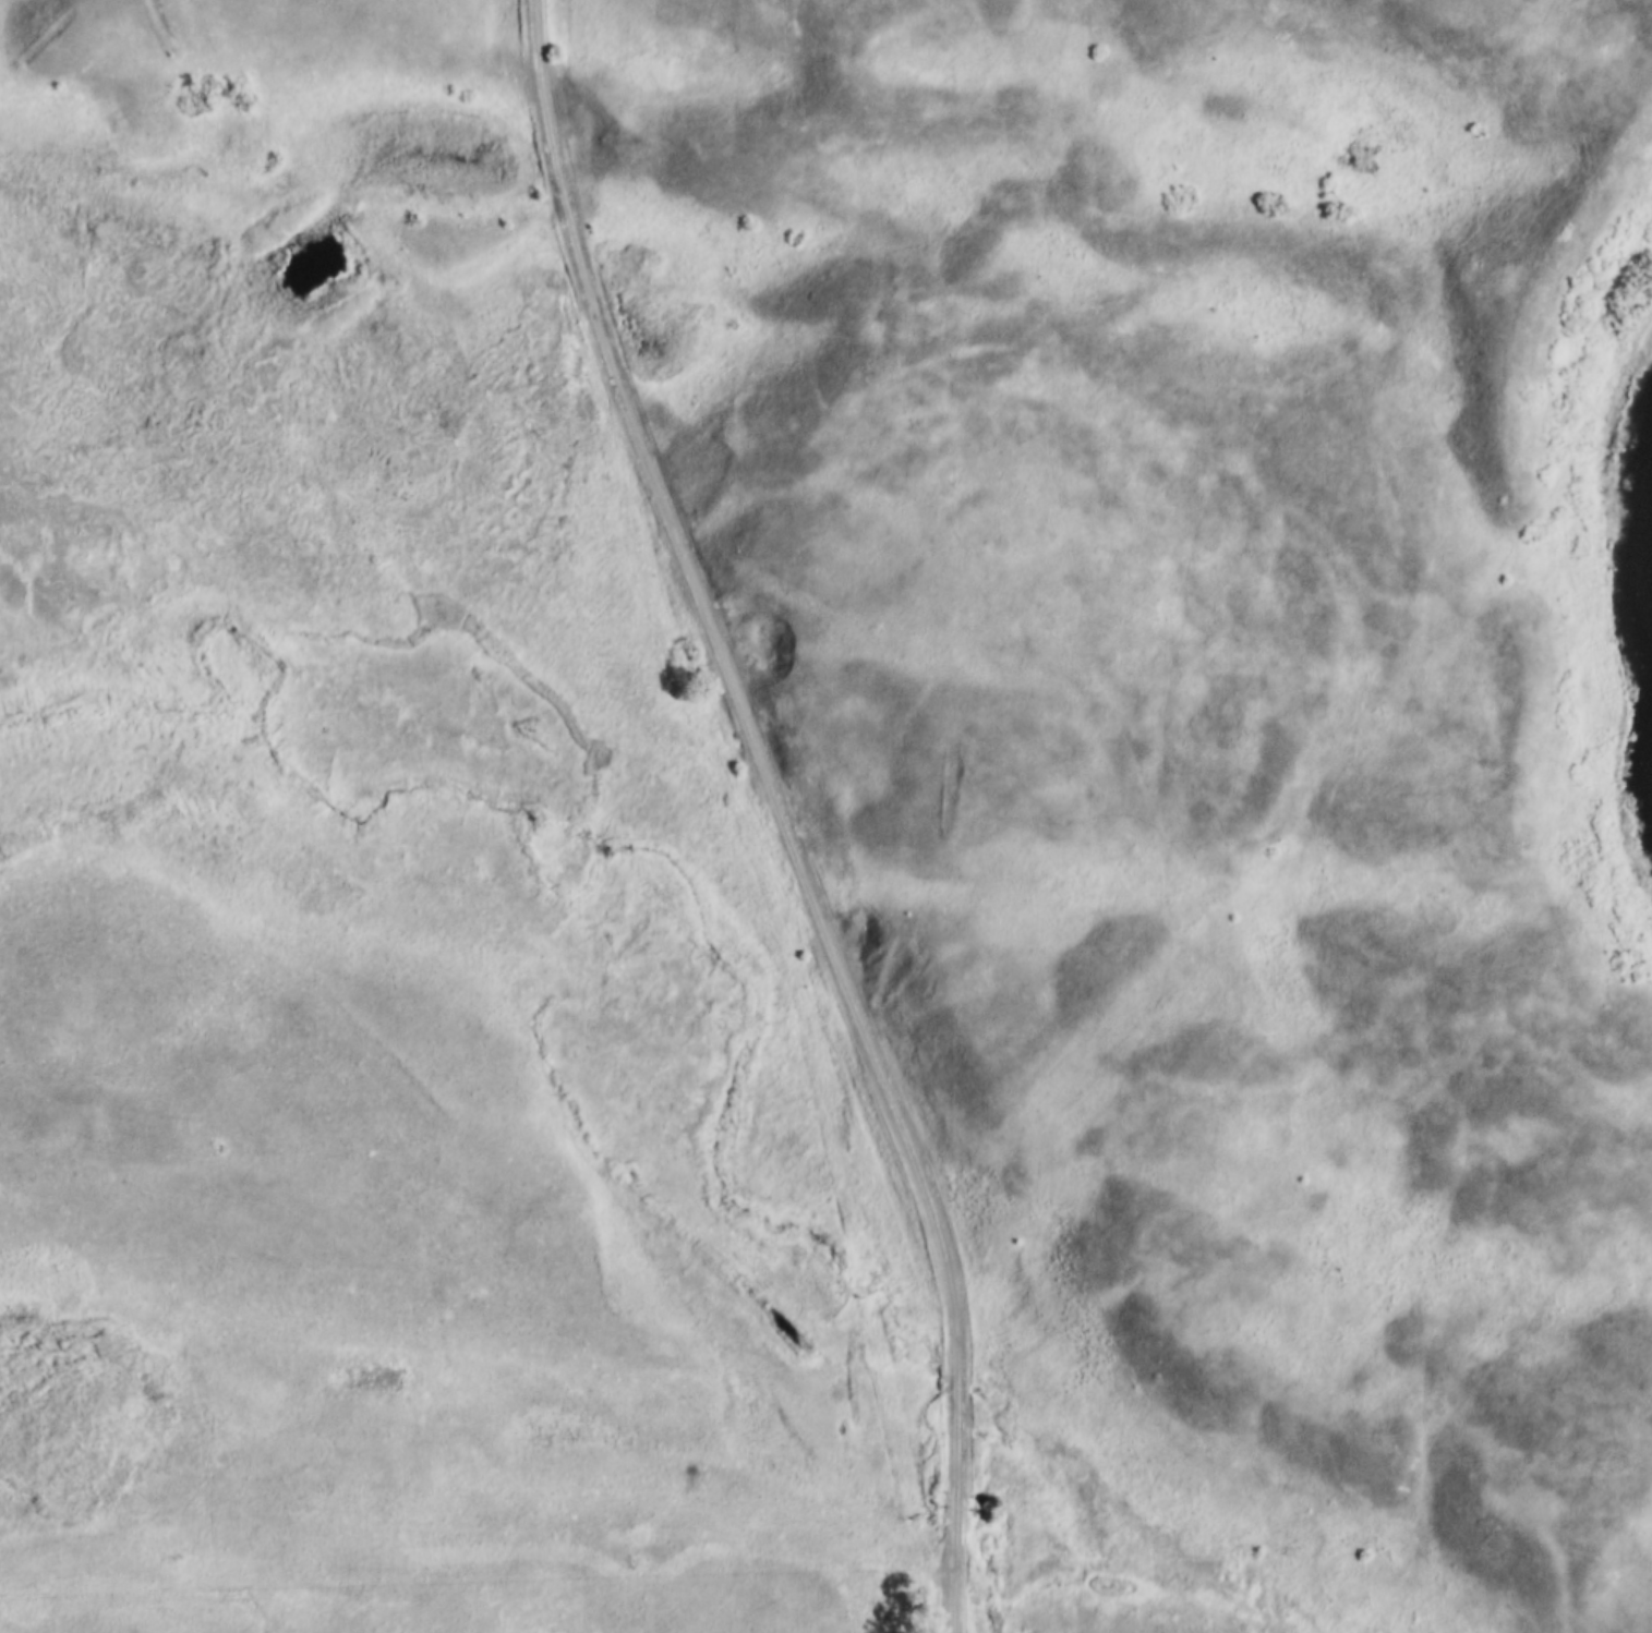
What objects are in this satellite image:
road: (783, 811)
river: (696, 891)

